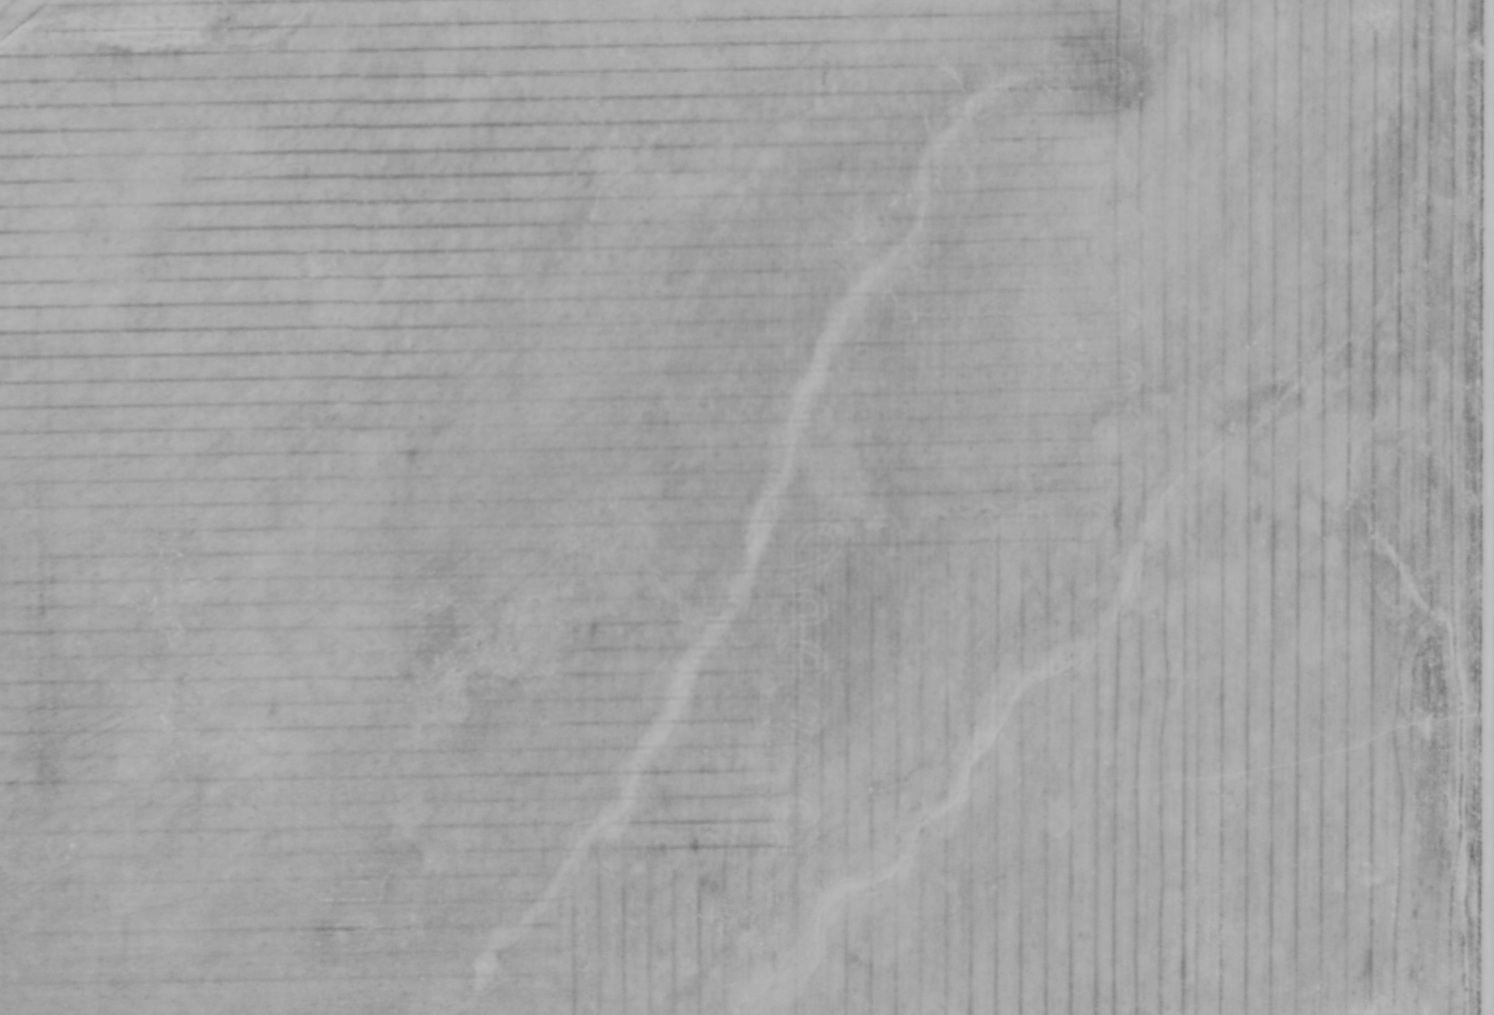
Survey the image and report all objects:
road: (1487, 507)

